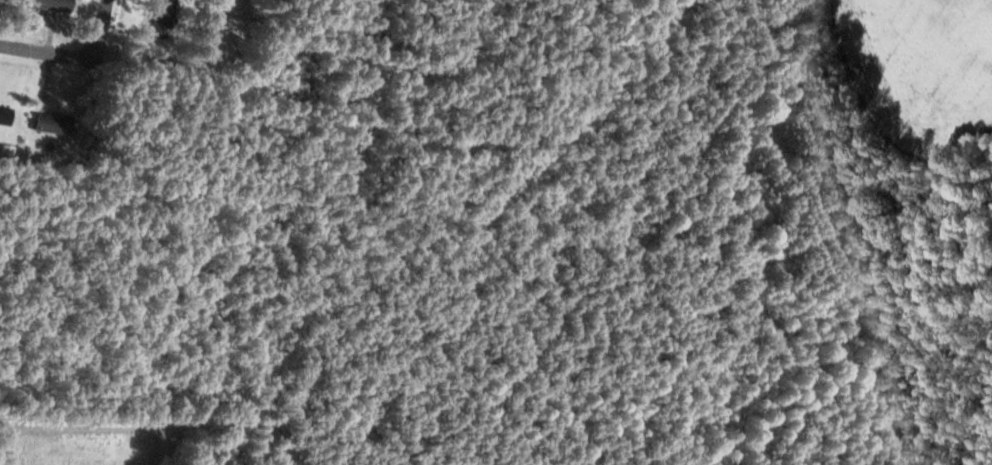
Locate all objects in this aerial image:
building: (0, 0)
building: (53, 5)
building: (166, 14)
road: (102, 21)
road: (52, 53)
building: (6, 113)
building: (55, 124)

